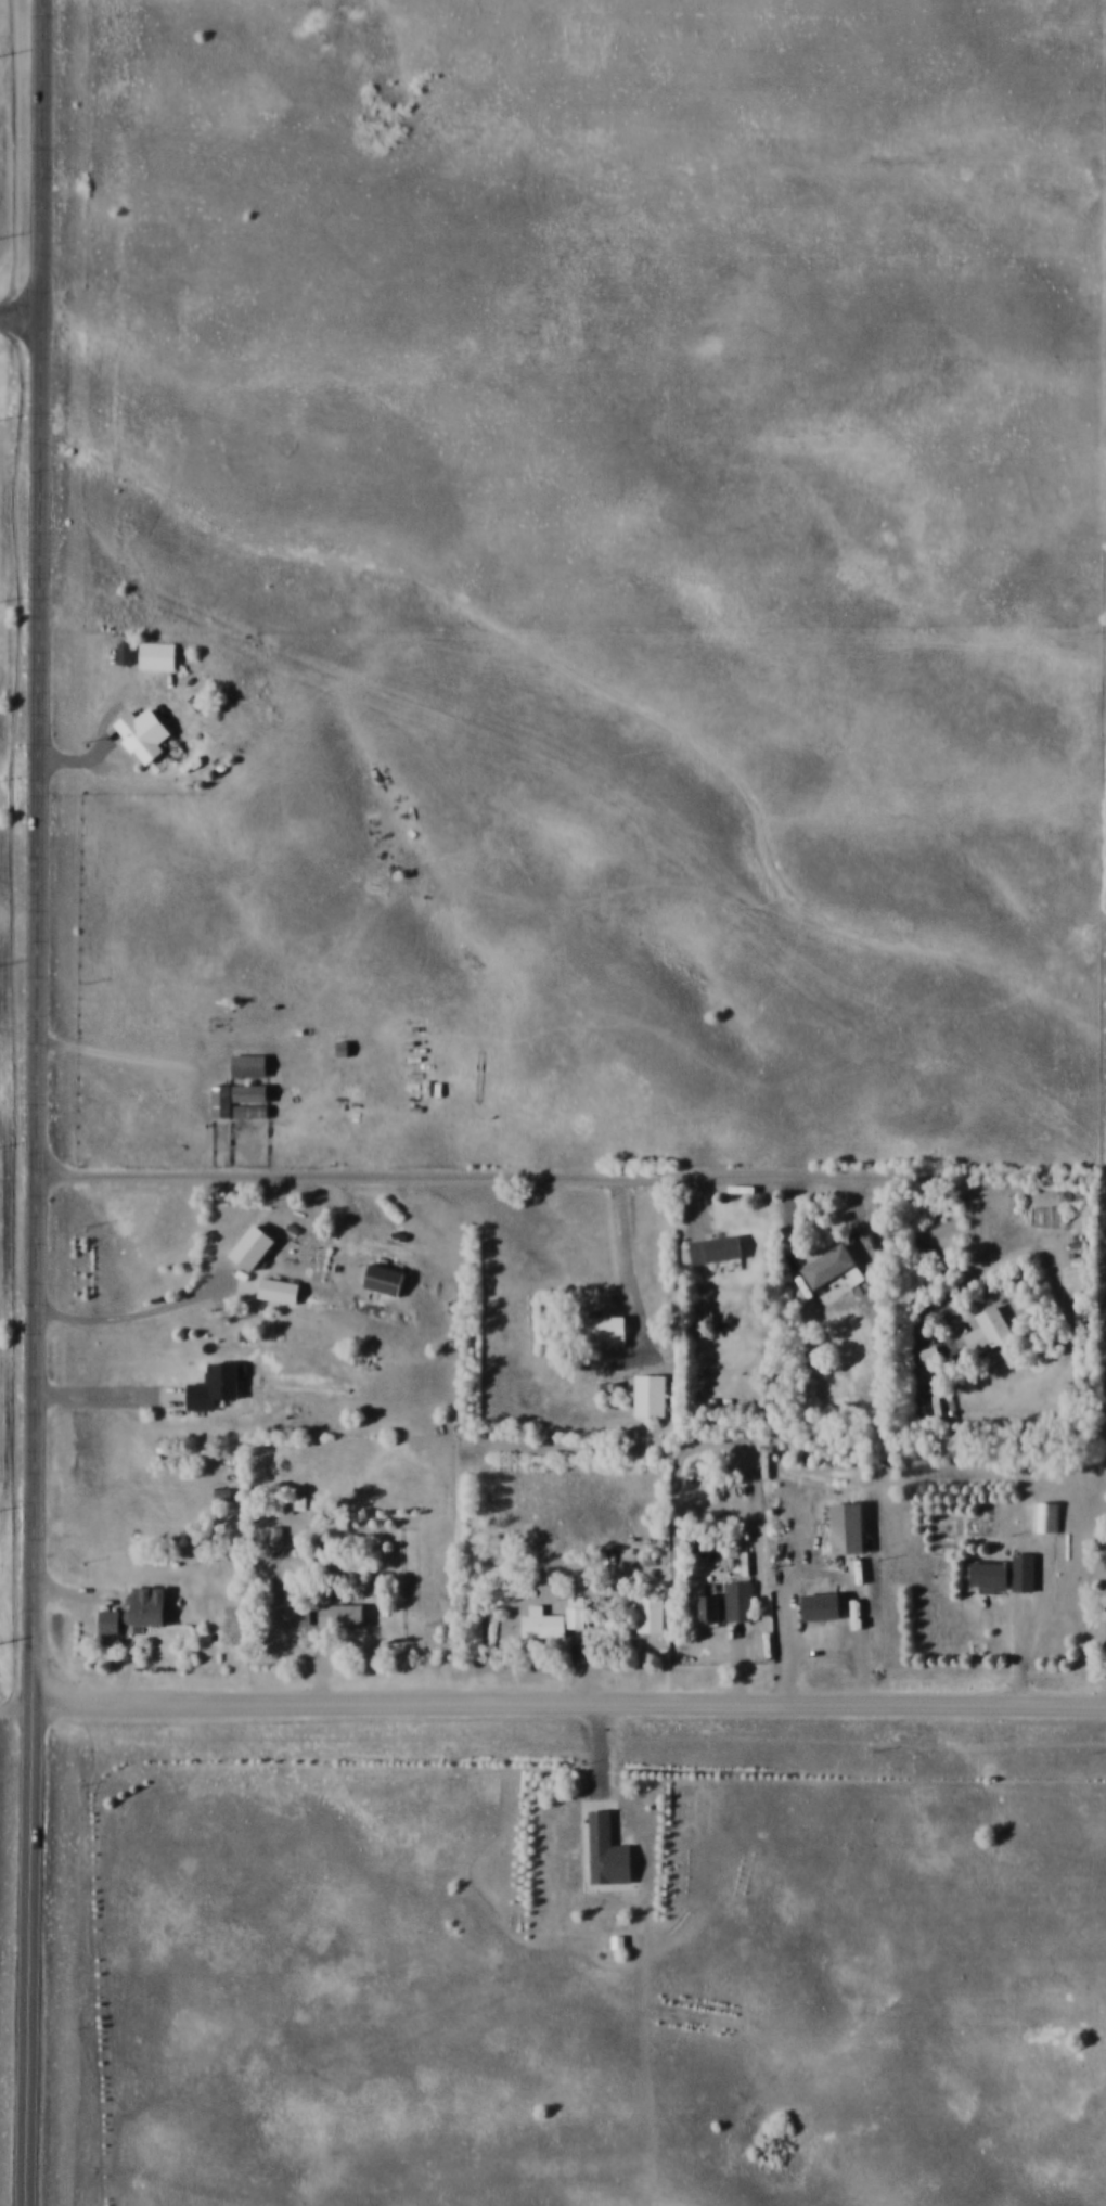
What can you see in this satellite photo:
road: (22, 315)
building: (126, 653)
building: (159, 655)
building: (145, 734)
road: (40, 854)
road: (120, 1053)
building: (250, 1064)
building: (241, 1100)
road: (503, 1177)
building: (256, 1245)
building: (718, 1247)
road: (978, 1247)
building: (834, 1266)
road: (632, 1269)
building: (386, 1279)
building: (274, 1287)
road: (142, 1313)
building: (603, 1328)
building: (992, 1329)
building: (931, 1352)
building: (217, 1385)
building: (652, 1395)
road: (101, 1400)
building: (850, 1526)
building: (275, 1535)
road: (823, 1570)
building: (1026, 1570)
building: (992, 1573)
building: (742, 1596)
building: (149, 1605)
building: (826, 1605)
building: (711, 1607)
building: (652, 1613)
building: (343, 1614)
building: (554, 1619)
building: (111, 1621)
road: (1036, 1621)
road: (568, 1703)
road: (16, 1708)
road: (597, 1750)
building: (610, 1851)
road: (27, 1957)

